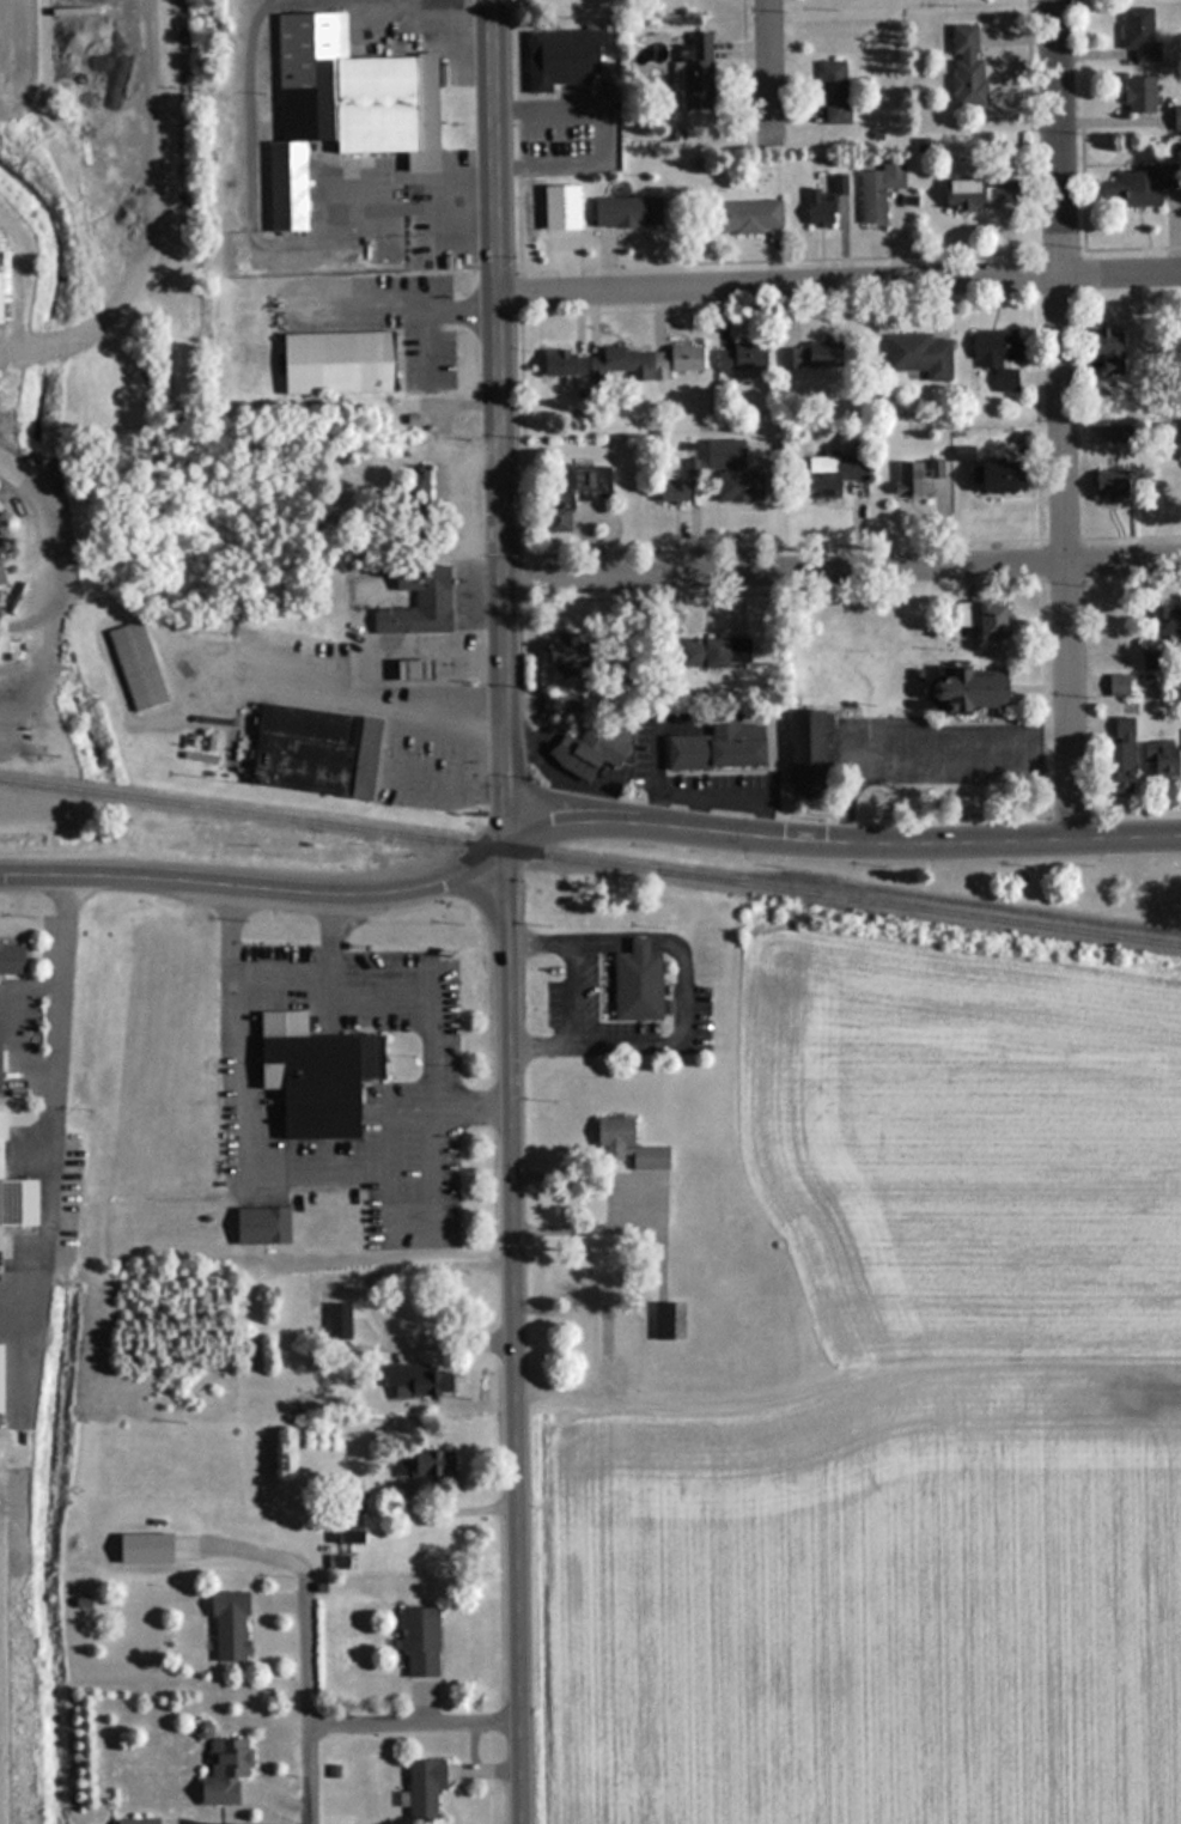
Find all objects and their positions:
building: (1136, 35)
building: (567, 55)
road: (1029, 63)
building: (964, 65)
road: (767, 73)
building: (695, 74)
road: (744, 74)
road: (152, 84)
road: (239, 85)
building: (360, 90)
building: (832, 92)
building: (1138, 96)
building: (1175, 118)
road: (1082, 124)
parking lot: (571, 136)
building: (1137, 186)
building: (284, 187)
building: (876, 190)
building: (972, 193)
building: (822, 201)
building: (623, 212)
building: (745, 217)
road: (292, 245)
road: (932, 255)
road: (519, 278)
road: (839, 281)
road: (395, 305)
road: (781, 306)
road: (430, 347)
building: (1107, 349)
building: (1174, 352)
building: (918, 354)
building: (823, 355)
building: (996, 357)
building: (738, 358)
building: (672, 360)
building: (334, 363)
building: (592, 364)
road: (1064, 419)
road: (498, 424)
building: (1179, 439)
building: (828, 475)
building: (913, 475)
building: (990, 478)
building: (733, 481)
building: (1108, 486)
building: (413, 487)
building: (671, 492)
building: (574, 493)
building: (1165, 493)
building: (4, 524)
silo: (4, 524)
road: (852, 545)
road: (1039, 552)
road: (840, 567)
road: (1162, 579)
road: (640, 596)
road: (738, 601)
building: (415, 602)
building: (978, 618)
building: (1165, 620)
building: (702, 652)
building: (737, 652)
building: (561, 656)
building: (134, 665)
building: (408, 670)
road: (363, 679)
building: (1116, 685)
building: (962, 689)
building: (559, 704)
building: (586, 749)
building: (803, 749)
building: (713, 750)
building: (310, 752)
building: (1118, 758)
building: (1157, 760)
road: (978, 814)
railway: (334, 823)
road: (841, 845)
road: (257, 886)
railway: (925, 896)
railway: (924, 910)
building: (10, 957)
building: (635, 983)
building: (315, 1081)
building: (623, 1145)
building: (16, 1202)
building: (257, 1227)
building: (328, 1297)
building: (660, 1320)
road: (513, 1336)
building: (416, 1380)
building: (421, 1463)
building: (349, 1515)
building: (141, 1548)
building: (339, 1561)
building: (318, 1587)
building: (226, 1625)
road: (309, 1635)
building: (416, 1641)
road: (415, 1722)
building: (223, 1771)
building: (420, 1788)
building: (133, 1820)

